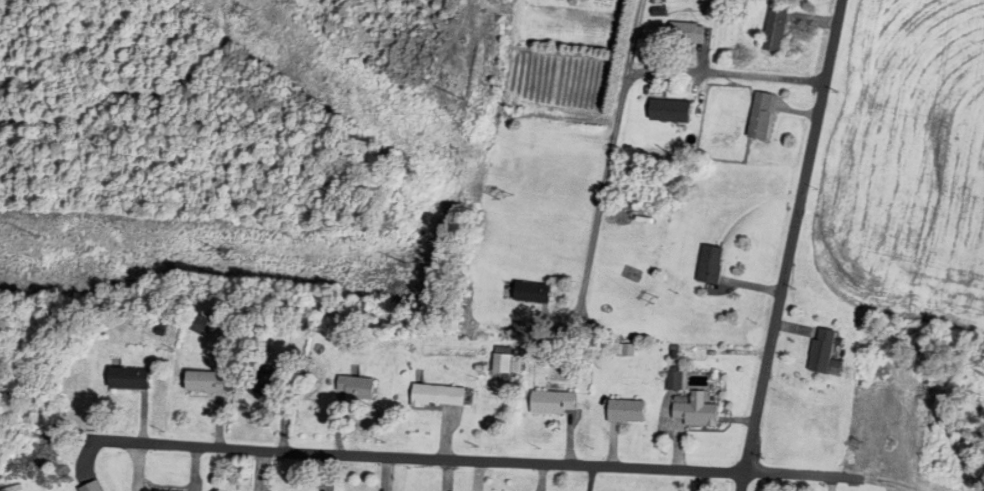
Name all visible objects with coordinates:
building: (775, 30)
building: (686, 34)
road: (724, 75)
building: (670, 112)
building: (761, 117)
road: (610, 156)
road: (793, 245)
building: (709, 266)
building: (531, 293)
building: (824, 354)
building: (507, 364)
building: (128, 379)
building: (276, 379)
building: (207, 383)
building: (354, 389)
building: (438, 397)
building: (553, 403)
building: (626, 412)
building: (696, 412)
road: (421, 459)
road: (802, 478)
building: (91, 487)

